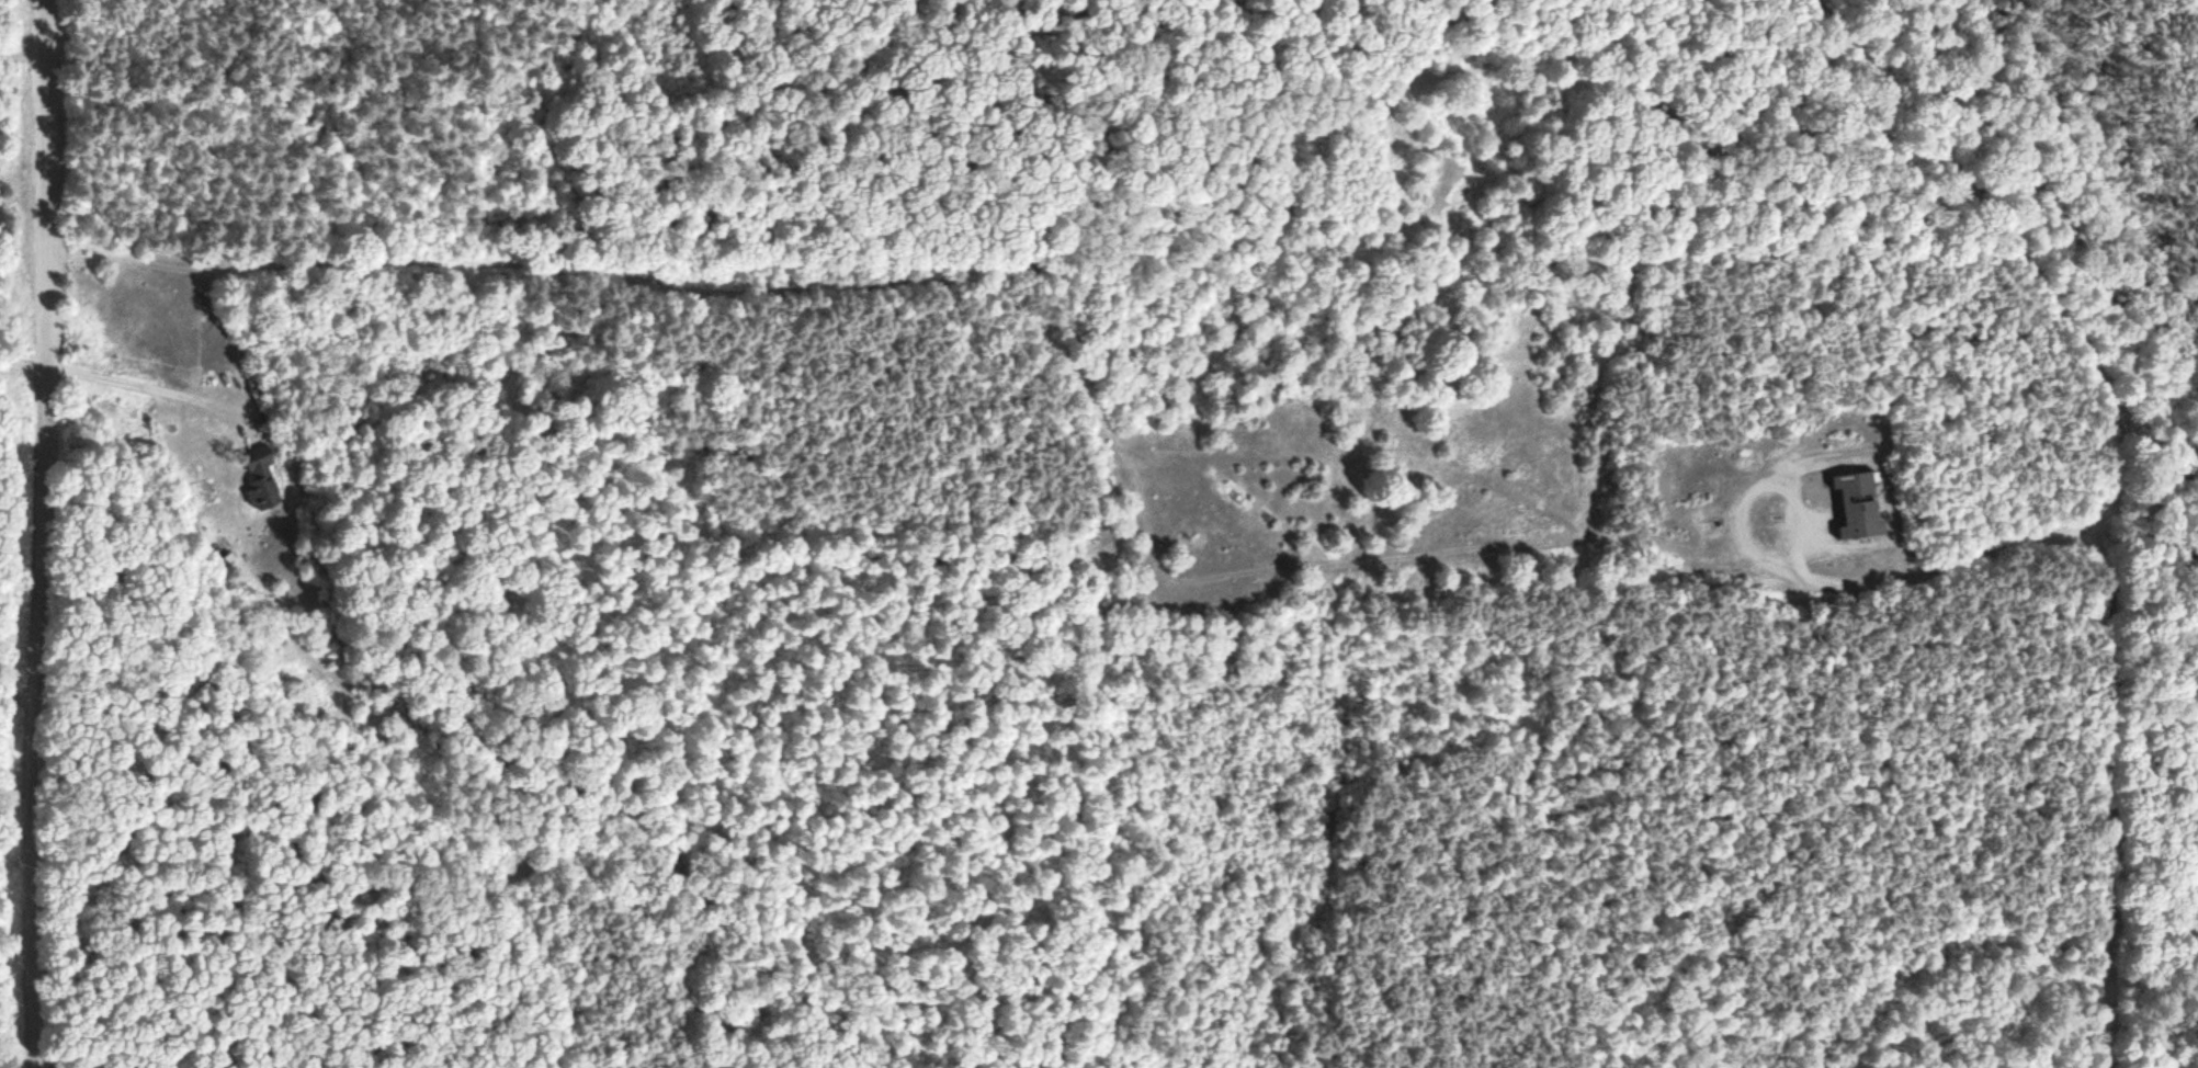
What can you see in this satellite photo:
road: (2013, 241)
building: (263, 478)
building: (1853, 501)
road: (35, 534)
road: (1976, 556)
road: (340, 890)

